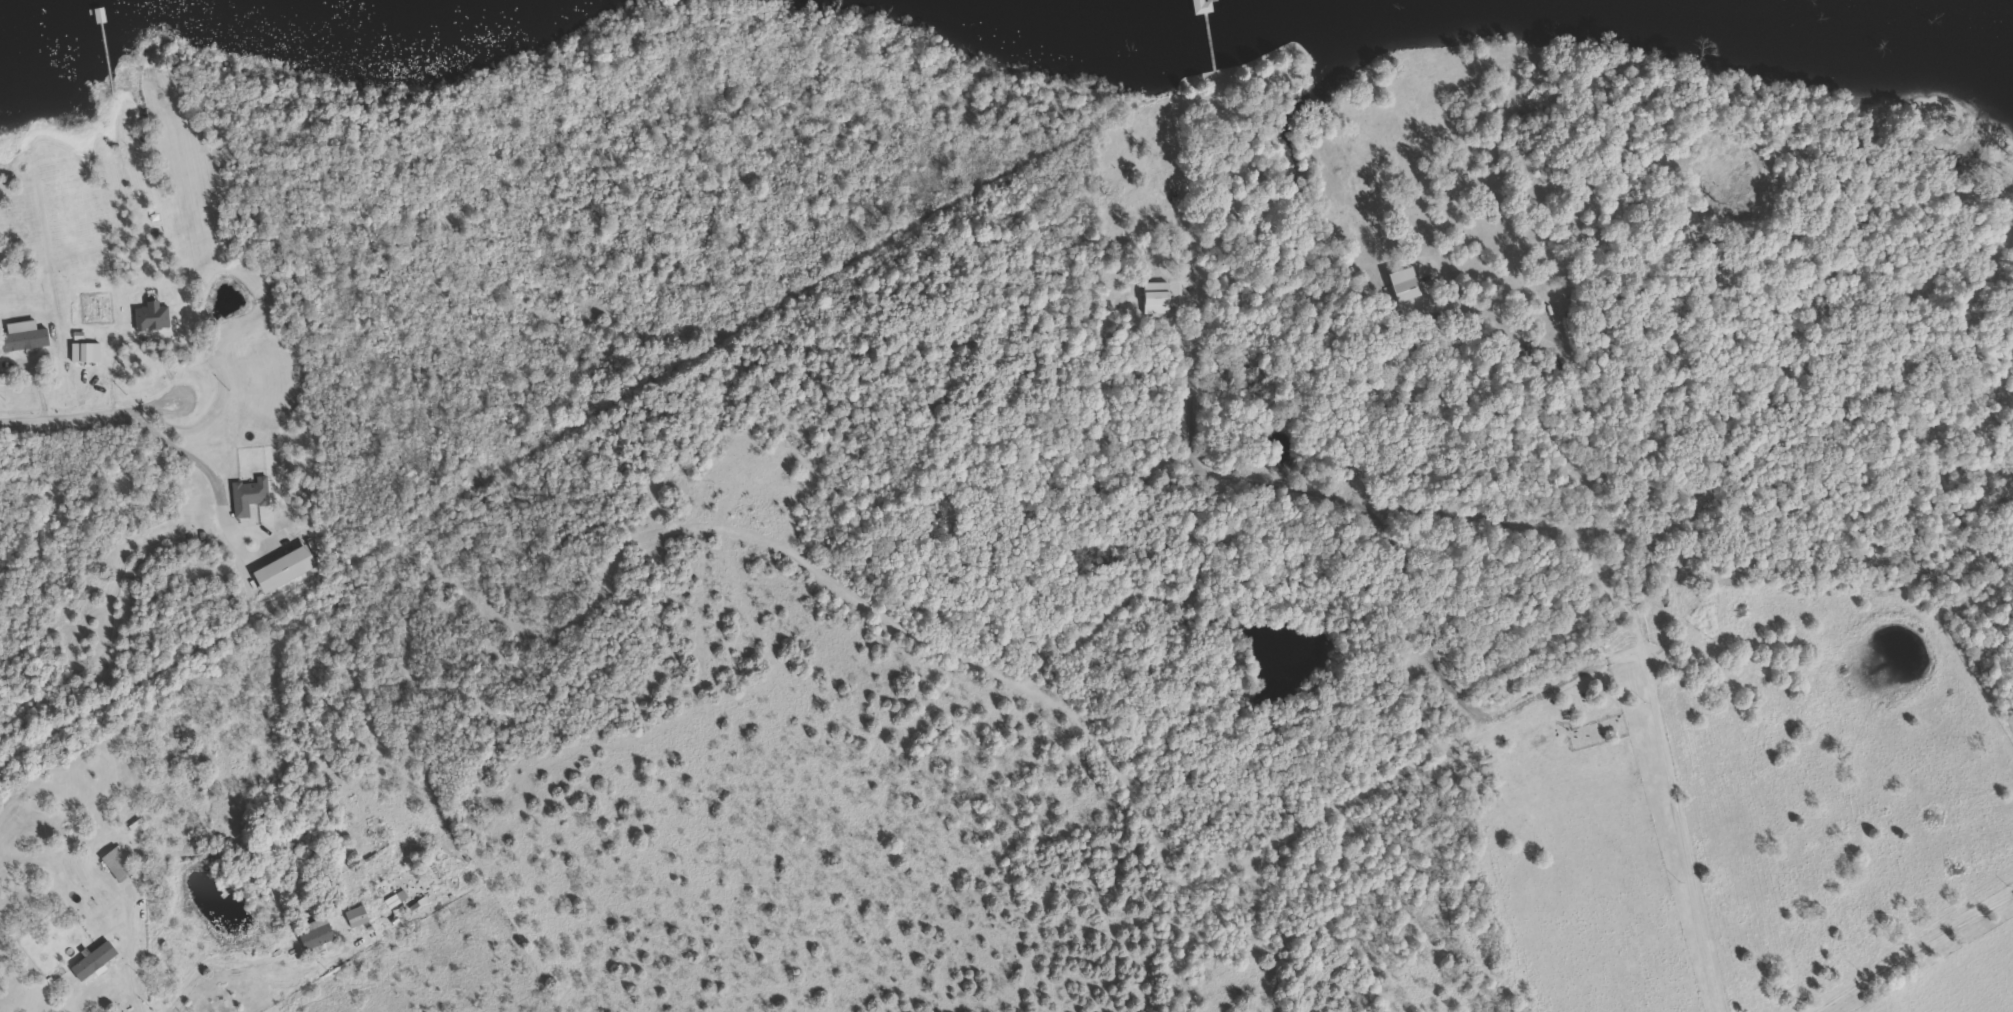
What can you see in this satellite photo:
building: (1204, 6)
building: (1748, 188)
building: (1407, 287)
building: (25, 337)
building: (91, 356)
building: (250, 495)
road: (81, 716)
road: (1673, 800)
building: (119, 864)
building: (357, 916)
building: (317, 934)
building: (95, 961)

